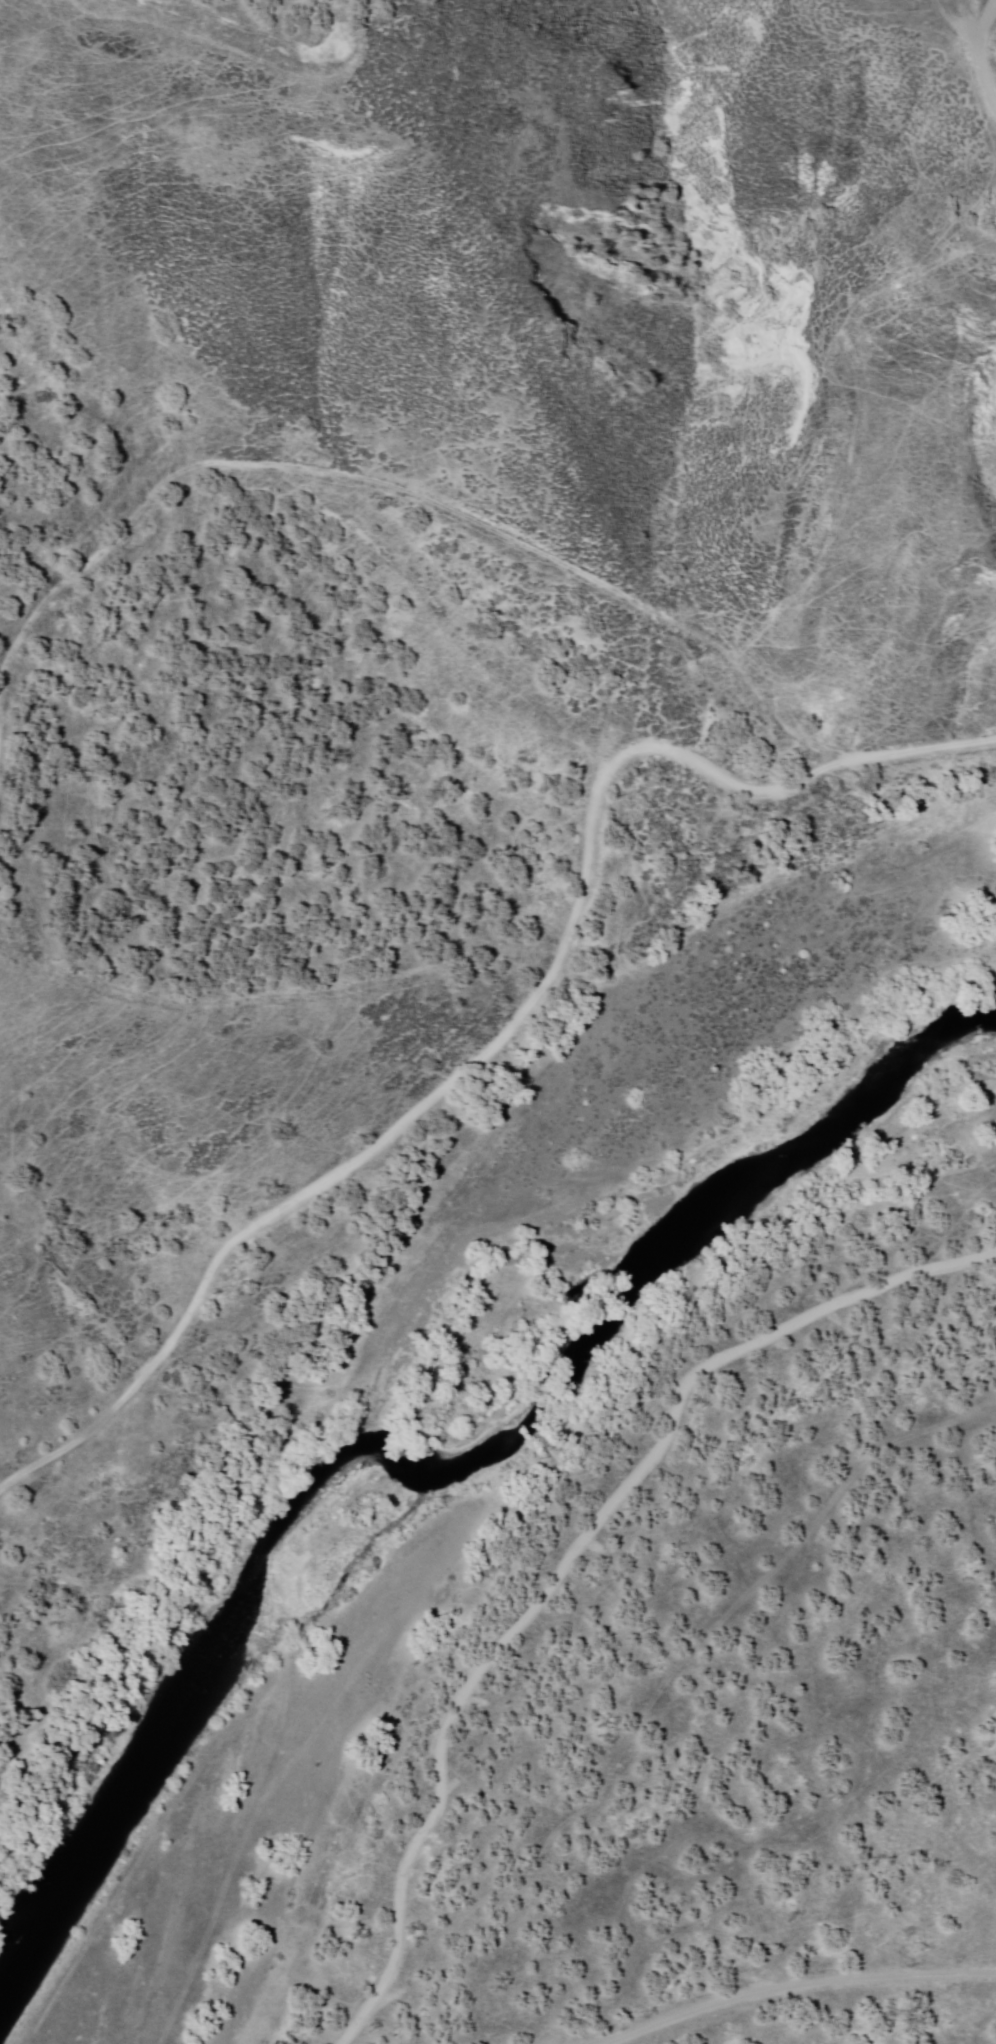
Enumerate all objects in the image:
road: (972, 13)
road: (958, 27)
road: (980, 48)
road: (860, 421)
road: (403, 484)
road: (512, 1026)
river: (470, 1457)
road: (567, 1562)
river: (18, 1955)
road: (790, 1987)

